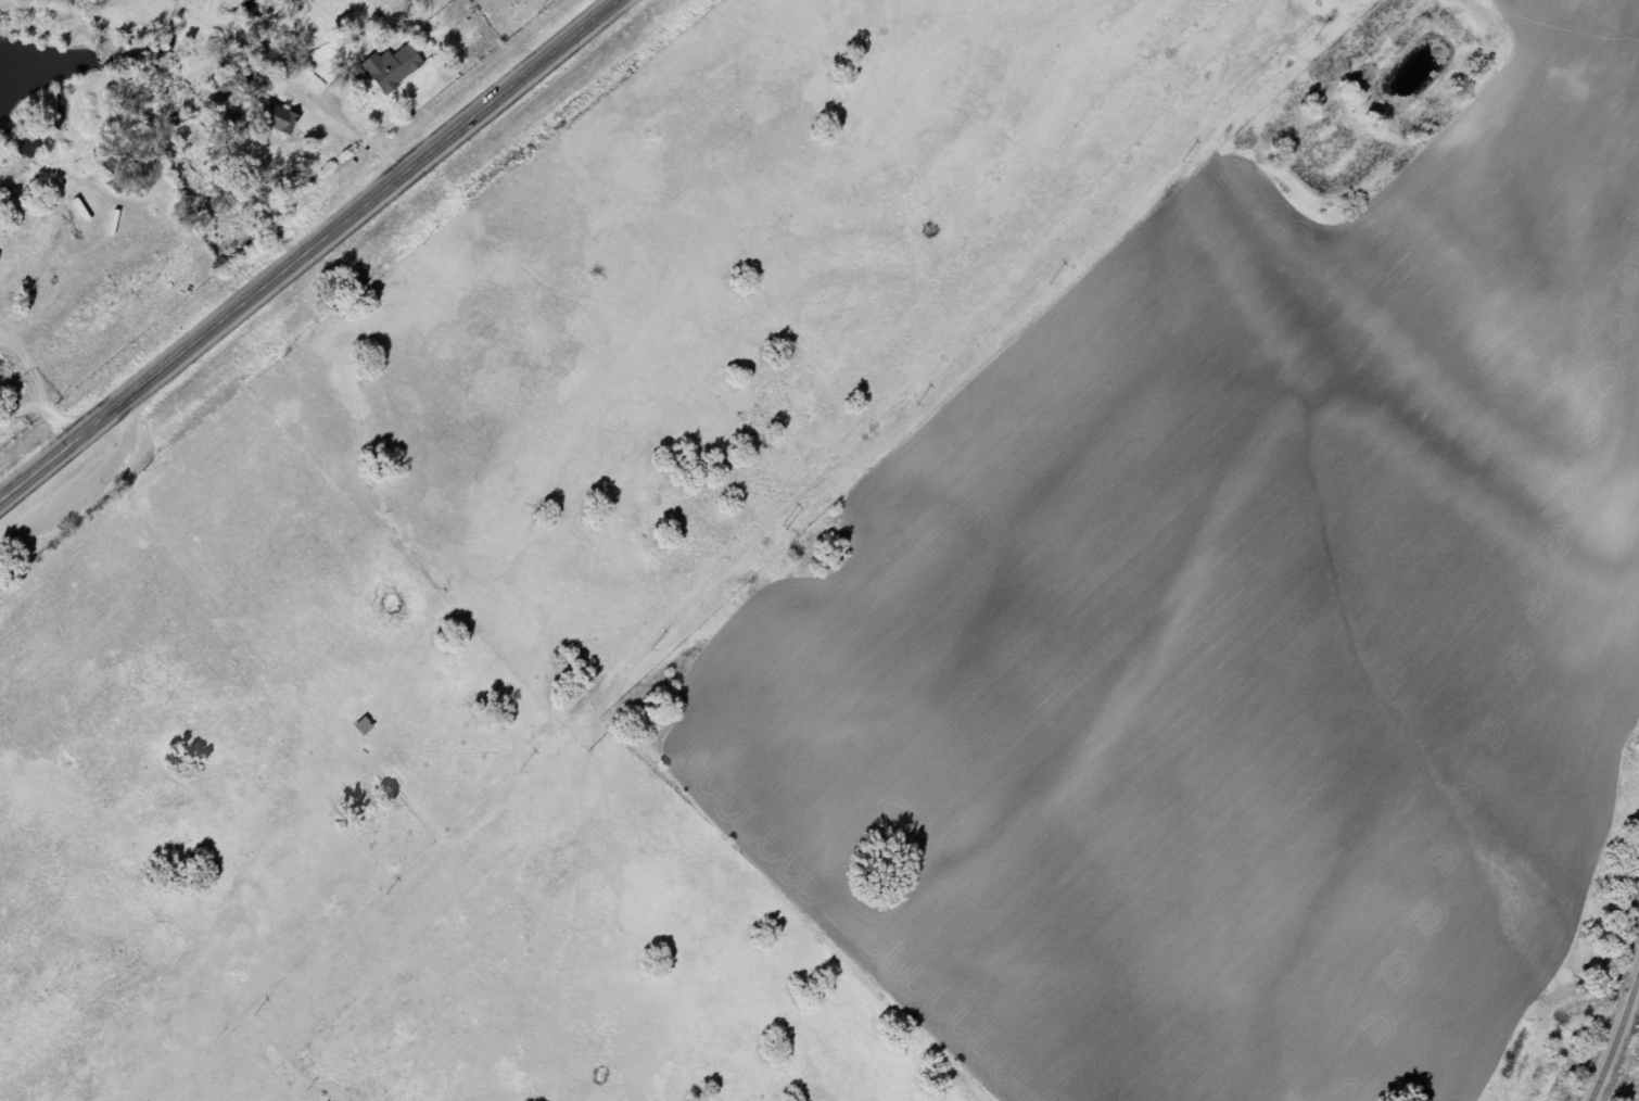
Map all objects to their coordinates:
building: (385, 67)
building: (274, 117)
road: (366, 134)
road: (307, 249)
railway: (1616, 1037)

